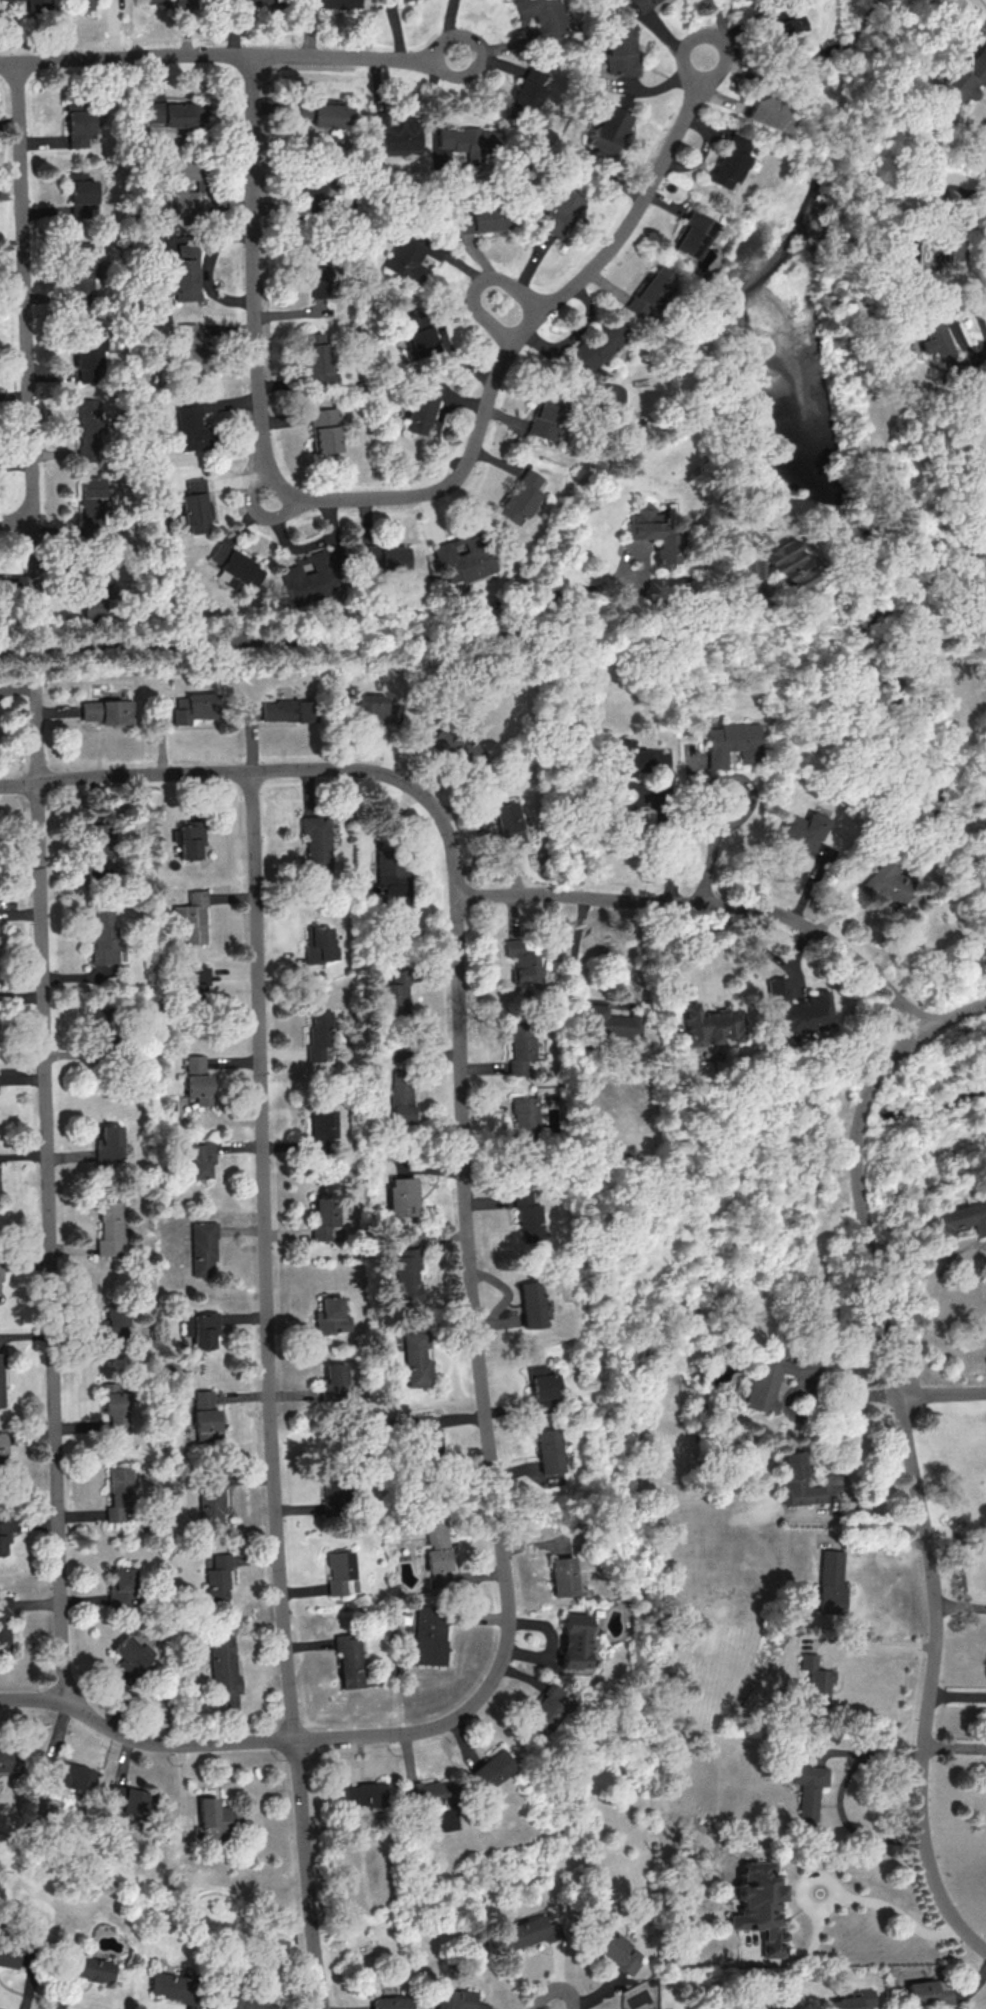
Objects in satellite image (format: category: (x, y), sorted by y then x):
building: (246, 0)
building: (155, 1)
building: (390, 1)
building: (334, 3)
building: (81, 4)
building: (640, 4)
building: (36, 5)
building: (538, 20)
building: (779, 24)
road: (488, 49)
building: (620, 50)
road: (204, 54)
building: (961, 75)
building: (528, 91)
building: (171, 113)
building: (324, 113)
building: (765, 113)
building: (79, 123)
building: (609, 129)
road: (746, 129)
building: (394, 133)
building: (463, 141)
road: (810, 143)
road: (901, 144)
building: (729, 160)
building: (178, 191)
building: (311, 192)
building: (81, 194)
building: (559, 212)
building: (481, 219)
building: (695, 234)
building: (948, 244)
building: (410, 257)
building: (185, 274)
building: (82, 277)
building: (321, 280)
road: (479, 283)
road: (26, 291)
building: (650, 291)
building: (418, 333)
building: (931, 337)
building: (599, 342)
building: (187, 350)
building: (88, 354)
road: (967, 357)
building: (317, 361)
building: (605, 405)
building: (422, 406)
building: (545, 416)
building: (189, 425)
road: (439, 425)
building: (88, 430)
building: (324, 430)
road: (464, 469)
building: (520, 496)
building: (92, 502)
building: (194, 505)
road: (16, 523)
building: (654, 532)
building: (367, 556)
building: (391, 558)
building: (460, 559)
building: (789, 565)
building: (234, 566)
building: (750, 567)
road: (34, 574)
building: (308, 577)
building: (97, 600)
road: (327, 635)
building: (229, 636)
road: (34, 653)
building: (193, 707)
building: (373, 707)
building: (287, 710)
building: (107, 711)
road: (36, 731)
building: (731, 743)
building: (457, 745)
building: (625, 757)
road: (19, 781)
road: (749, 801)
building: (507, 825)
road: (662, 828)
building: (801, 830)
building: (189, 839)
building: (315, 842)
building: (95, 849)
building: (392, 878)
building: (887, 881)
road: (712, 904)
building: (197, 919)
building: (101, 936)
building: (319, 945)
road: (678, 958)
building: (520, 961)
building: (195, 980)
building: (395, 991)
building: (793, 1009)
building: (99, 1012)
building: (608, 1022)
building: (706, 1024)
building: (318, 1036)
building: (520, 1048)
building: (201, 1081)
building: (401, 1096)
river: (931, 1110)
building: (524, 1123)
building: (321, 1128)
building: (108, 1143)
road: (463, 1148)
building: (205, 1161)
building: (402, 1197)
building: (323, 1216)
building: (528, 1216)
building: (957, 1219)
building: (109, 1228)
road: (49, 1241)
building: (209, 1247)
building: (0, 1270)
building: (412, 1273)
building: (530, 1305)
road: (927, 1305)
building: (335, 1318)
building: (113, 1323)
building: (204, 1328)
building: (421, 1358)
building: (770, 1378)
building: (3, 1380)
building: (539, 1382)
building: (333, 1383)
road: (807, 1386)
road: (269, 1391)
road: (942, 1394)
building: (117, 1411)
building: (209, 1413)
building: (424, 1435)
building: (3, 1443)
building: (547, 1450)
road: (910, 1453)
building: (796, 1481)
building: (119, 1495)
building: (330, 1496)
building: (211, 1497)
road: (858, 1516)
building: (4, 1534)
building: (436, 1554)
building: (338, 1572)
building: (560, 1576)
building: (218, 1580)
building: (829, 1582)
building: (121, 1587)
road: (960, 1603)
building: (4, 1623)
building: (428, 1635)
road: (870, 1640)
building: (575, 1641)
building: (129, 1655)
building: (348, 1659)
building: (228, 1664)
building: (814, 1680)
road: (958, 1690)
building: (545, 1707)
road: (142, 1743)
road: (955, 1748)
building: (8, 1759)
building: (490, 1768)
building: (65, 1774)
building: (807, 1790)
building: (427, 1792)
building: (362, 1794)
road: (837, 1796)
building: (125, 1800)
building: (214, 1818)
building: (759, 1905)
road: (893, 1913)
building: (529, 1929)
building: (613, 1947)
building: (7, 1954)
building: (90, 1970)
building: (173, 1987)
road: (555, 1991)
building: (927, 1991)
building: (456, 1999)
building: (853, 1999)
building: (249, 2002)
building: (390, 2002)
building: (778, 2005)

